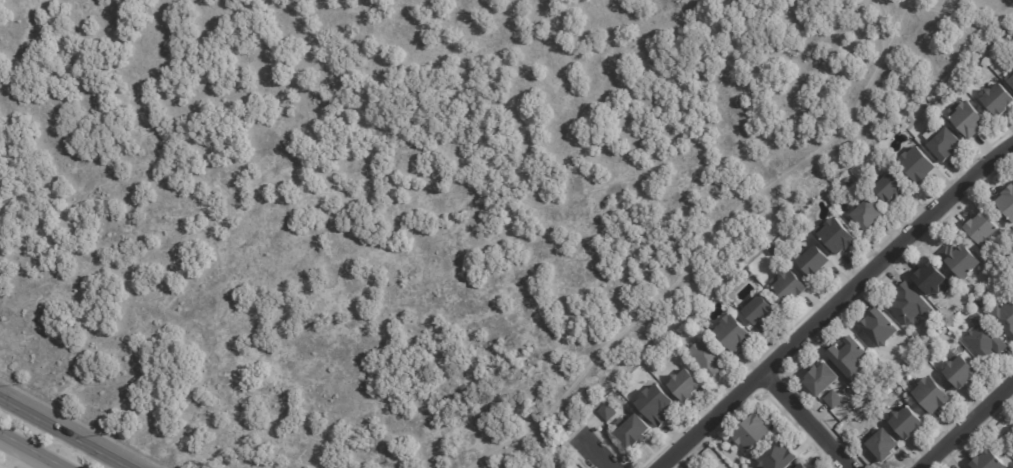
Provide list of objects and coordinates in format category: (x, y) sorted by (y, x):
road: (937, 8)
building: (1012, 79)
building: (999, 98)
building: (970, 117)
building: (933, 132)
building: (947, 144)
building: (922, 163)
building: (896, 181)
park: (401, 203)
building: (1007, 203)
building: (870, 215)
road: (225, 225)
building: (983, 230)
building: (838, 236)
road: (701, 245)
building: (817, 259)
building: (964, 259)
building: (933, 279)
building: (796, 283)
building: (911, 303)
road: (832, 304)
building: (761, 309)
building: (1005, 316)
building: (881, 328)
building: (736, 331)
building: (917, 334)
building: (984, 338)
building: (710, 355)
building: (851, 358)
building: (962, 372)
building: (823, 379)
building: (686, 384)
building: (933, 395)
building: (836, 397)
building: (659, 402)
building: (610, 410)
road: (809, 419)
building: (912, 419)
road: (964, 423)
building: (637, 431)
road: (65, 432)
building: (755, 432)
building: (885, 444)
road: (33, 449)
road: (603, 454)
building: (779, 455)
building: (991, 460)
building: (802, 465)
building: (567, 466)
building: (806, 466)

